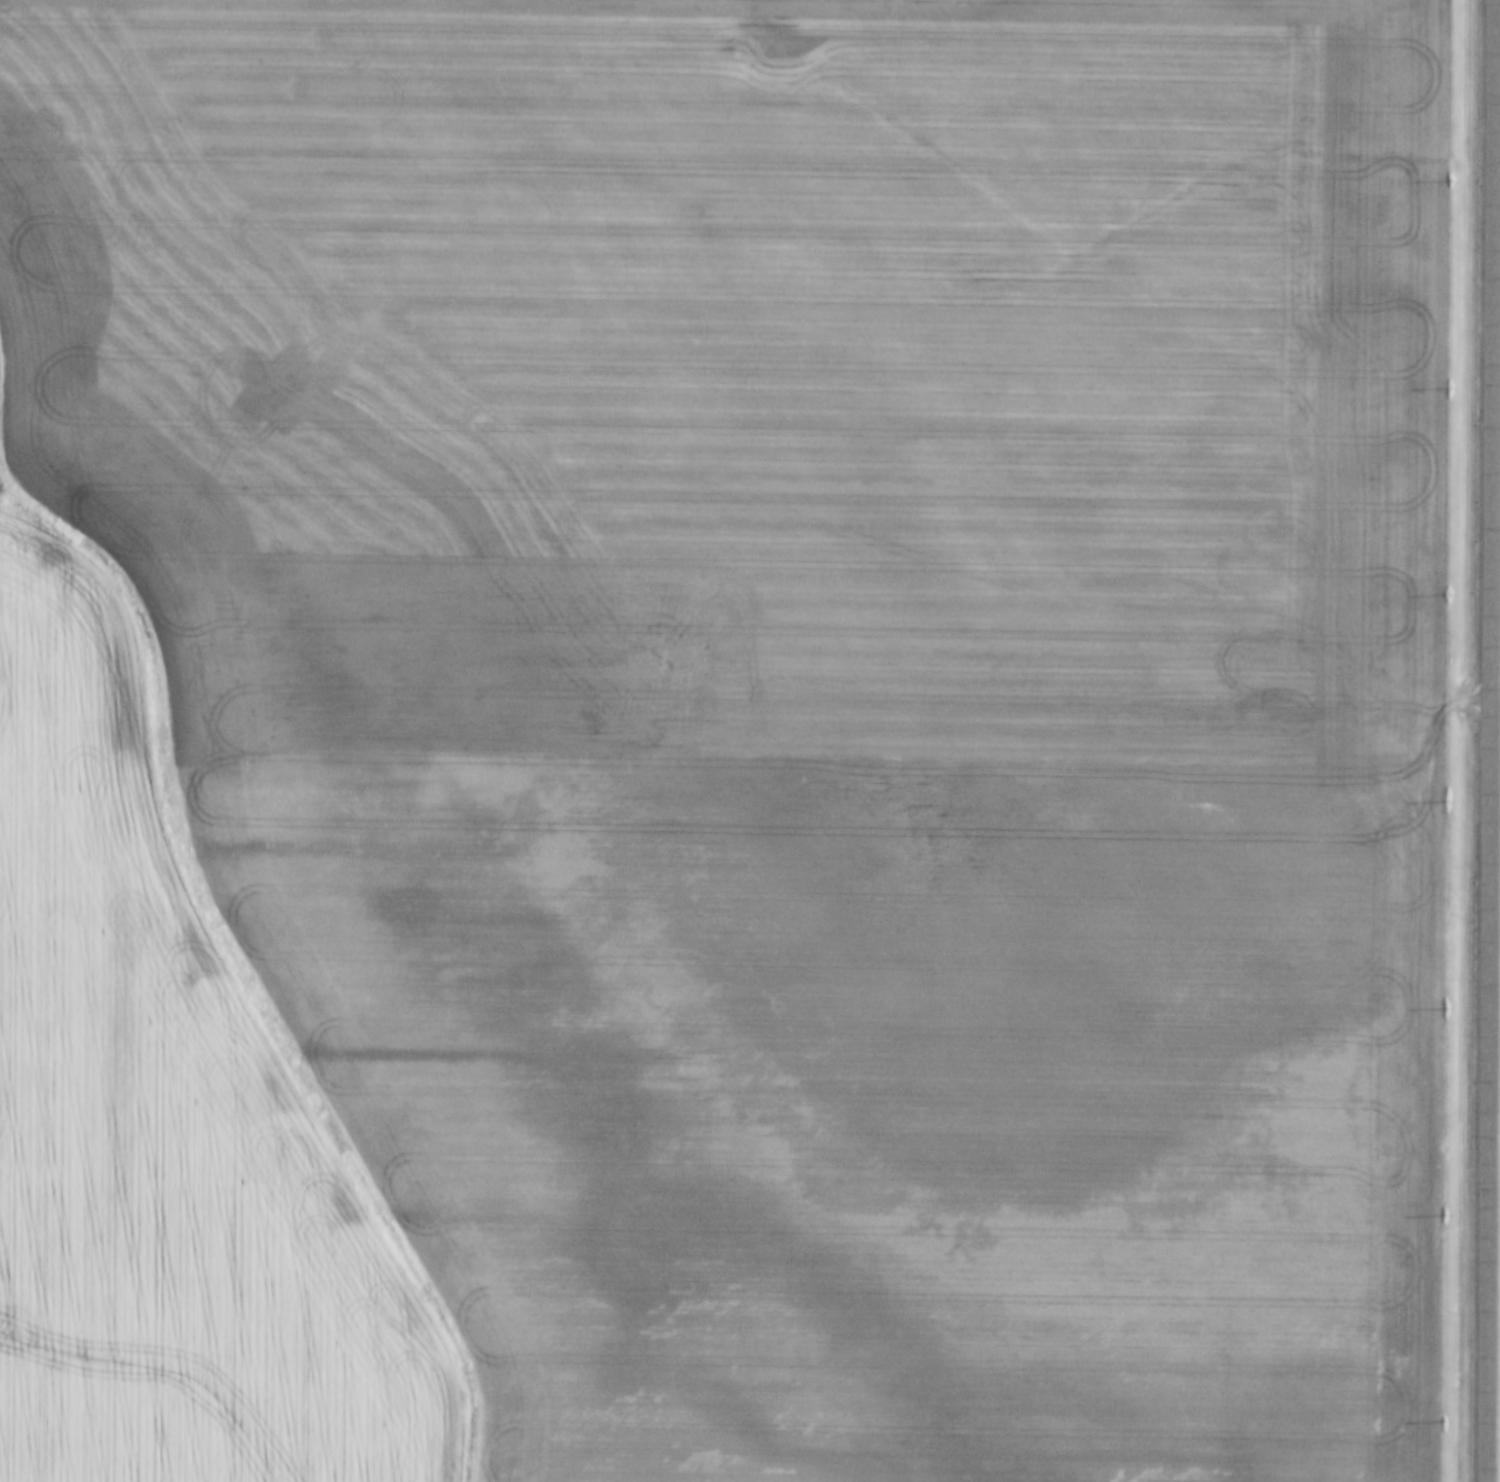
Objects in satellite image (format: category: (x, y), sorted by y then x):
road: (1496, 774)

